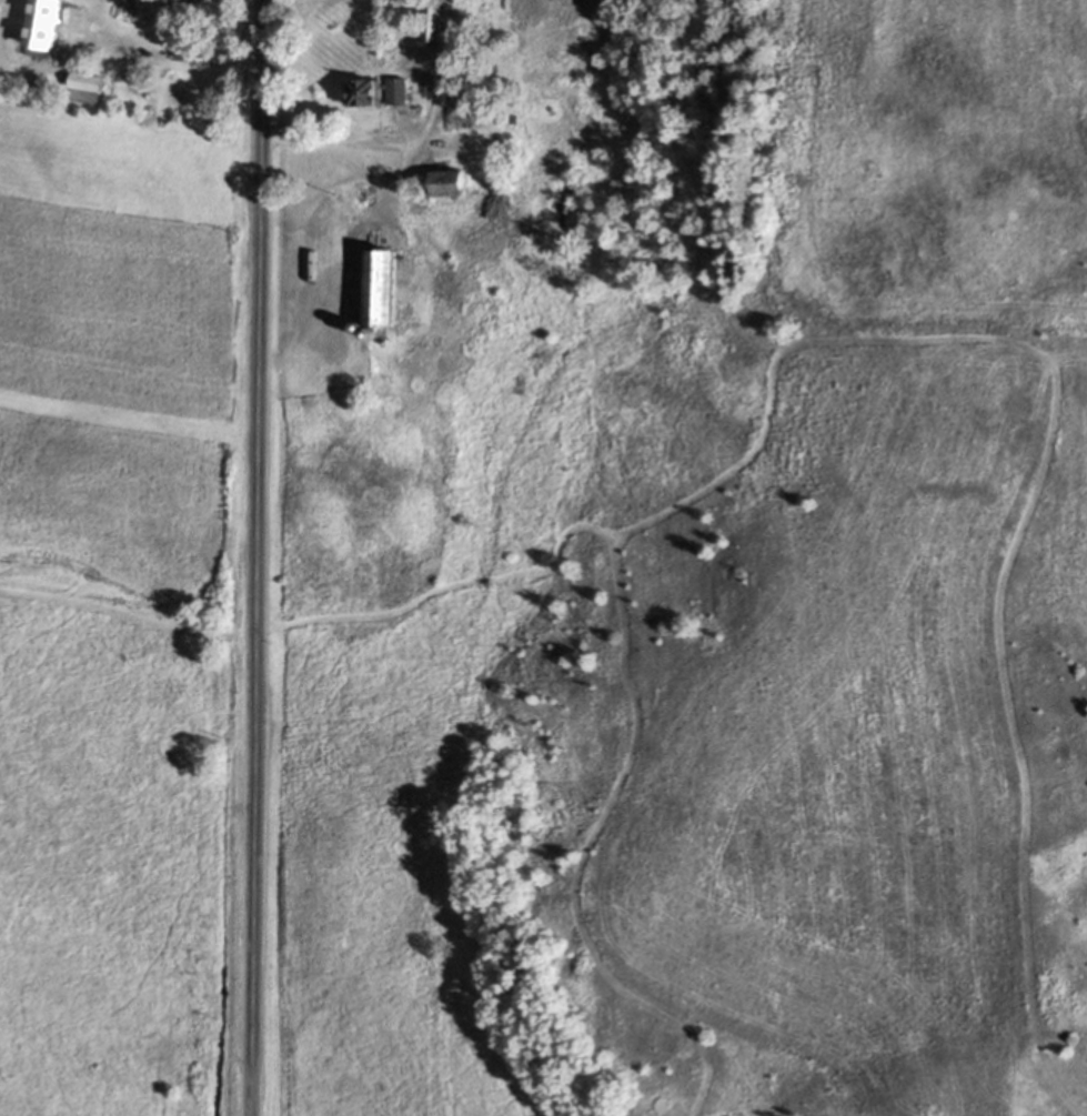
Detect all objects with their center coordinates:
building: (171, 0)
building: (427, 20)
road: (162, 54)
building: (135, 78)
building: (82, 82)
building: (394, 91)
building: (361, 94)
building: (453, 117)
road: (403, 127)
road: (358, 143)
road: (409, 158)
building: (445, 185)
building: (376, 288)
road: (256, 557)

